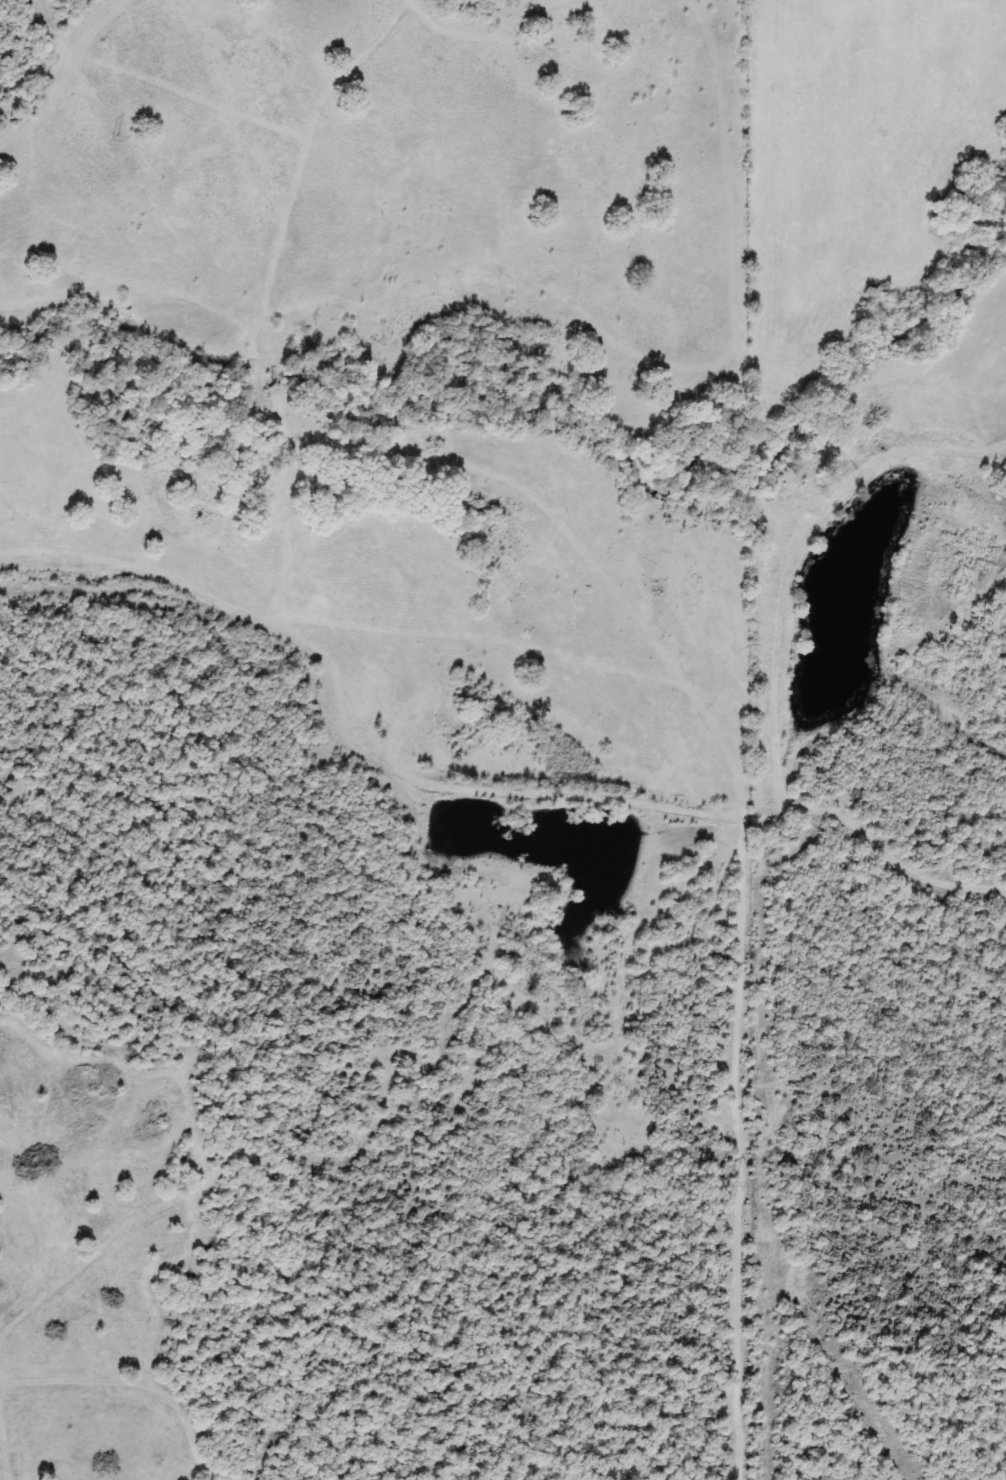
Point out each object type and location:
power tower: (125, 140)
power tower: (333, 490)
road: (470, 780)
power tower: (526, 819)
power tower: (739, 1187)

